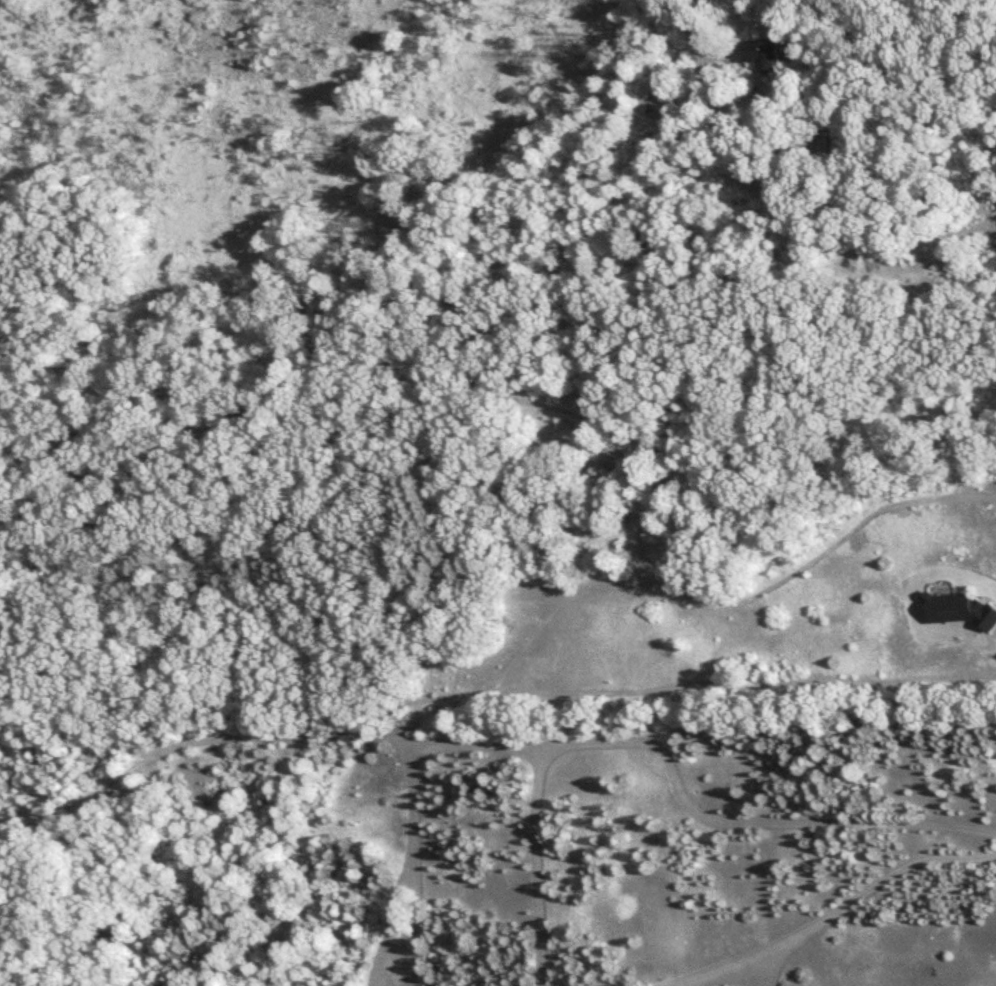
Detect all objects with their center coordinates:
road: (800, 12)
building: (767, 54)
building: (642, 98)
building: (803, 144)
building: (209, 387)

